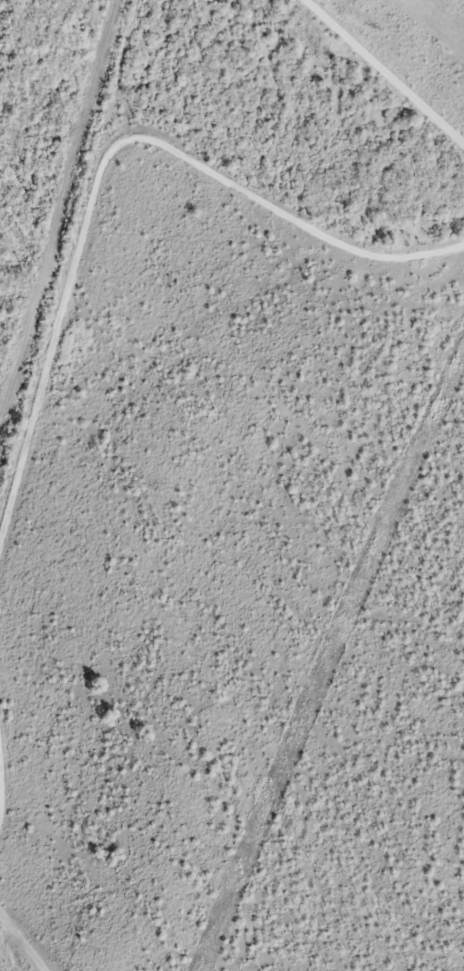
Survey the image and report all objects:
road: (104, 154)
road: (22, 944)

